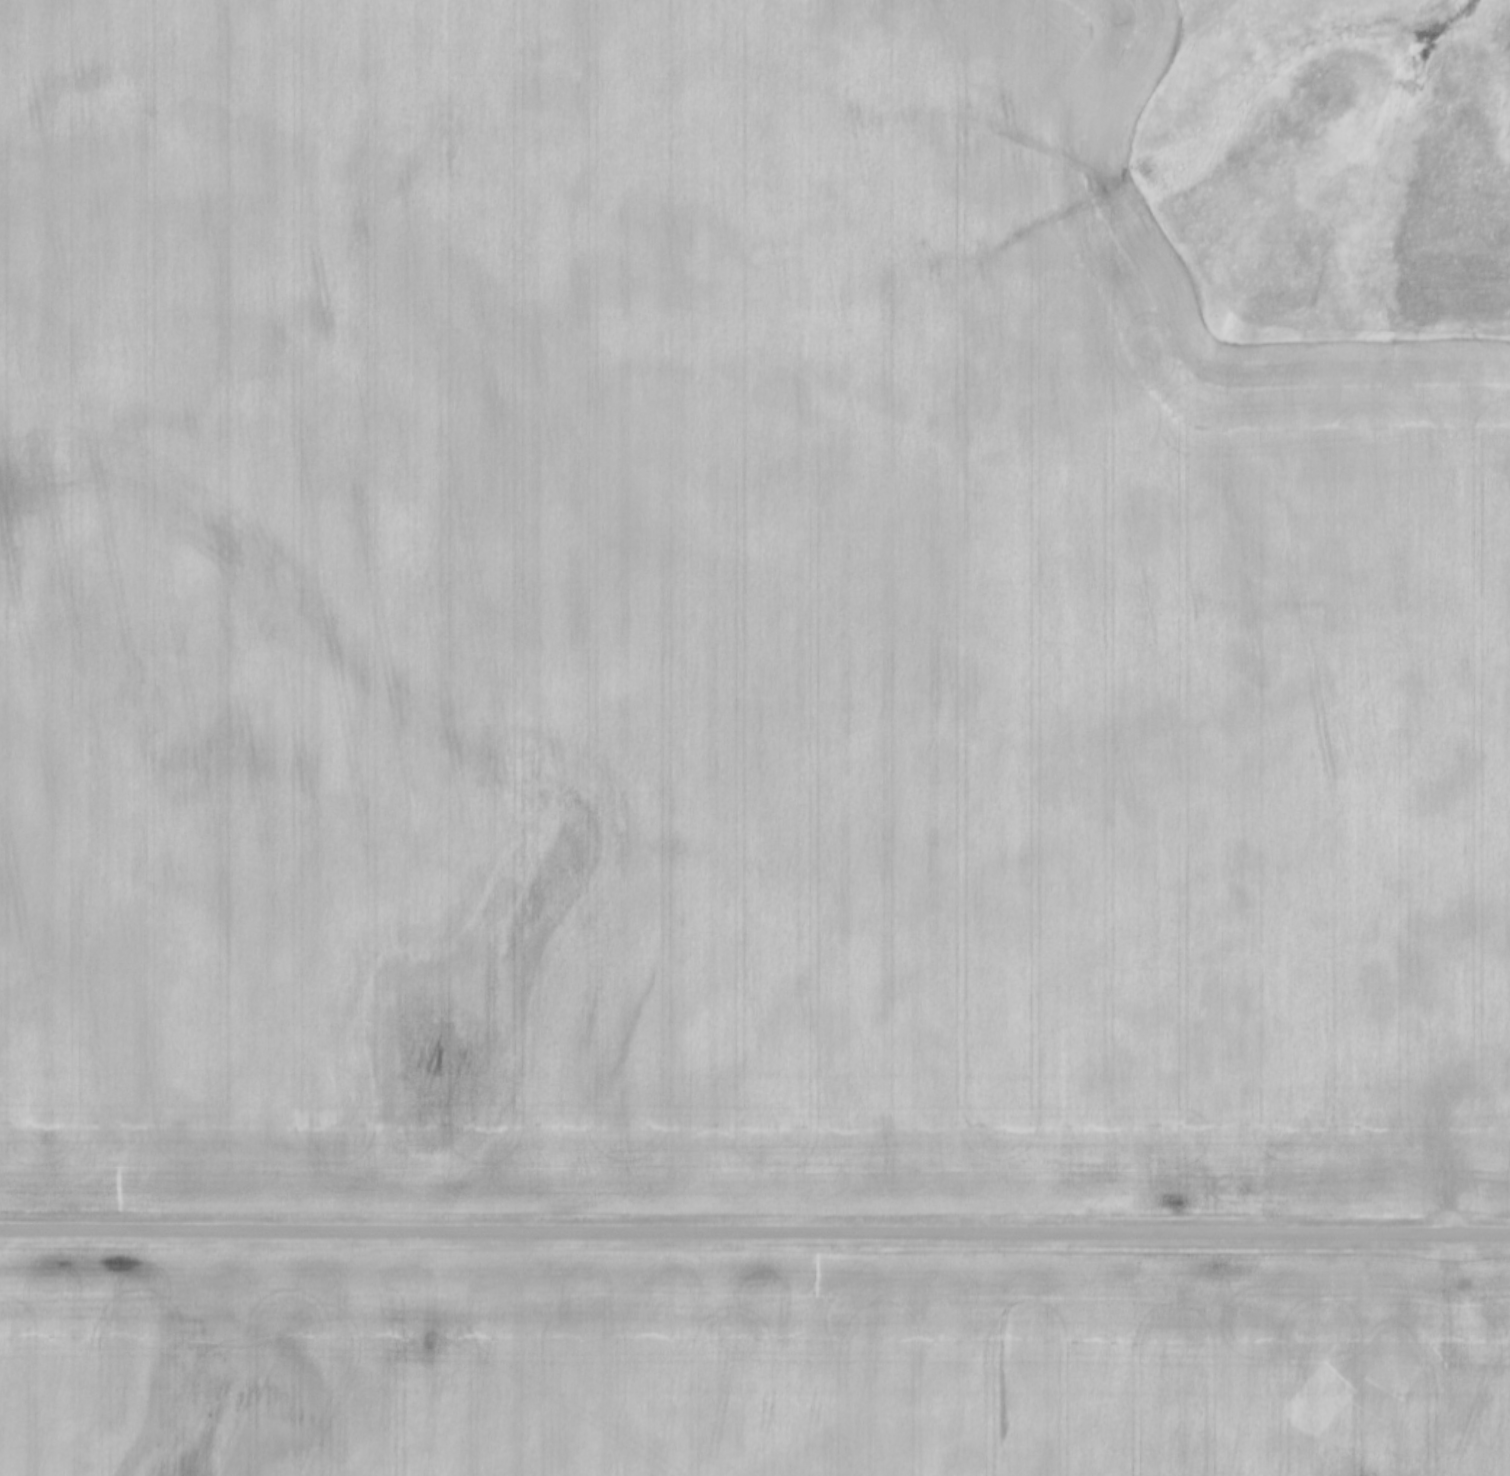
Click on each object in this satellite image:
road: (754, 1231)

